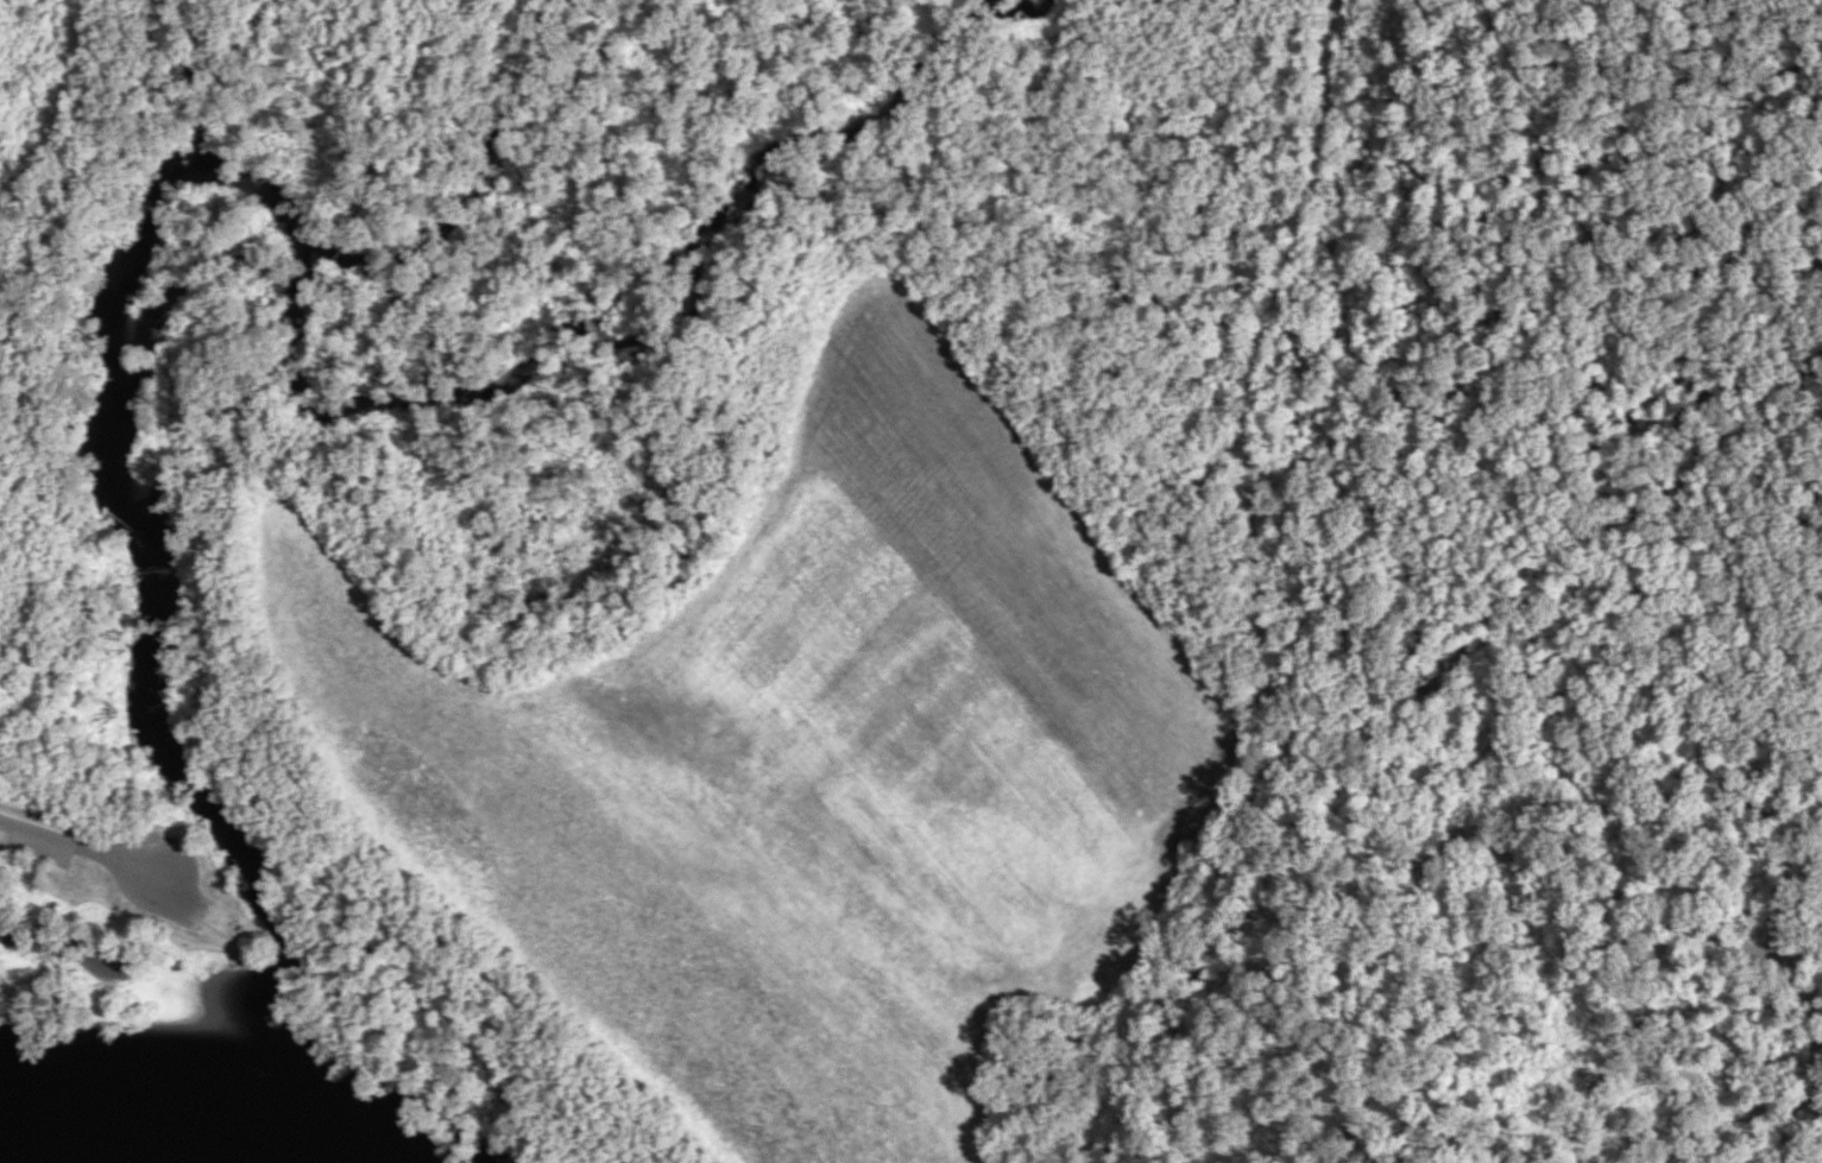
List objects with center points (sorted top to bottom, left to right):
road: (74, 849)
river: (68, 1151)

